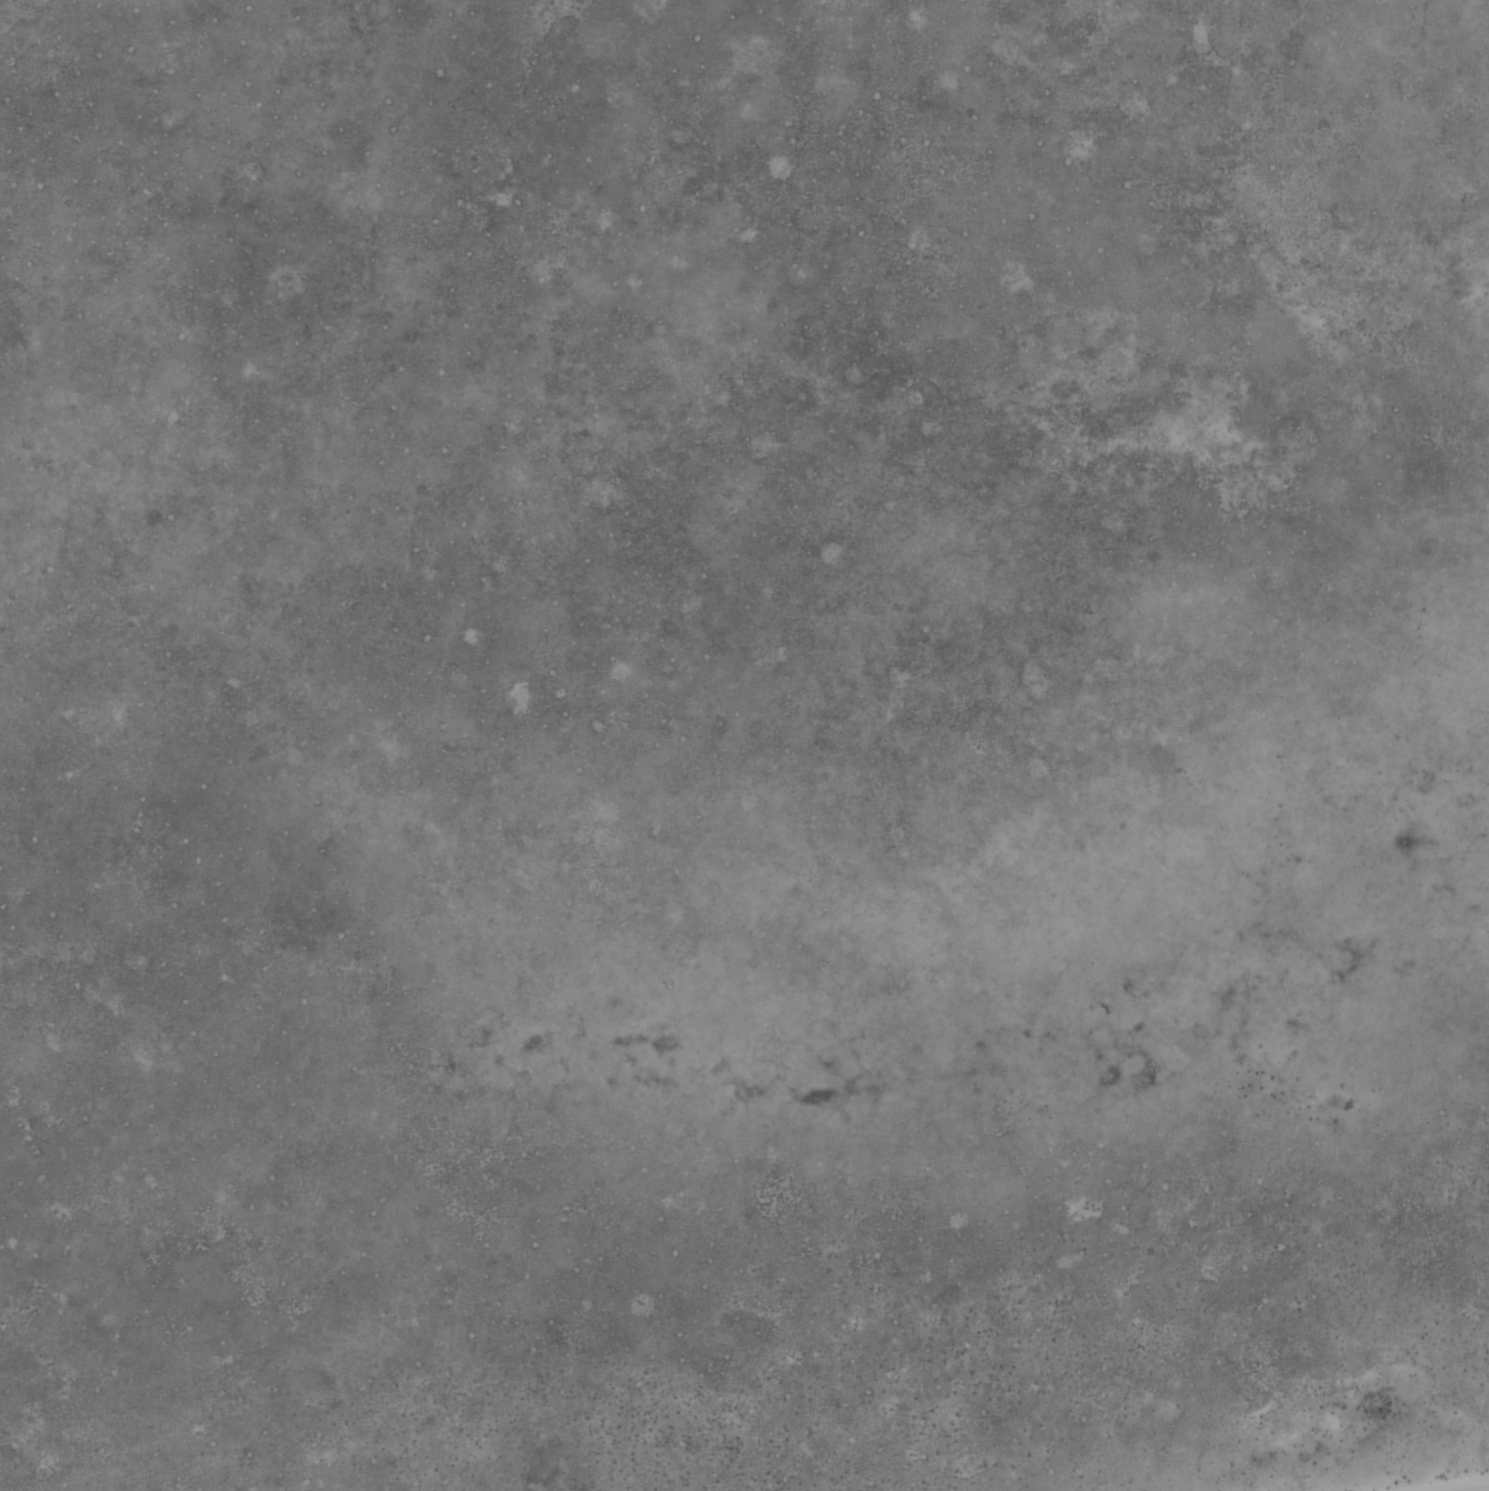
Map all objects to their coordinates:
road: (1481, 1489)

